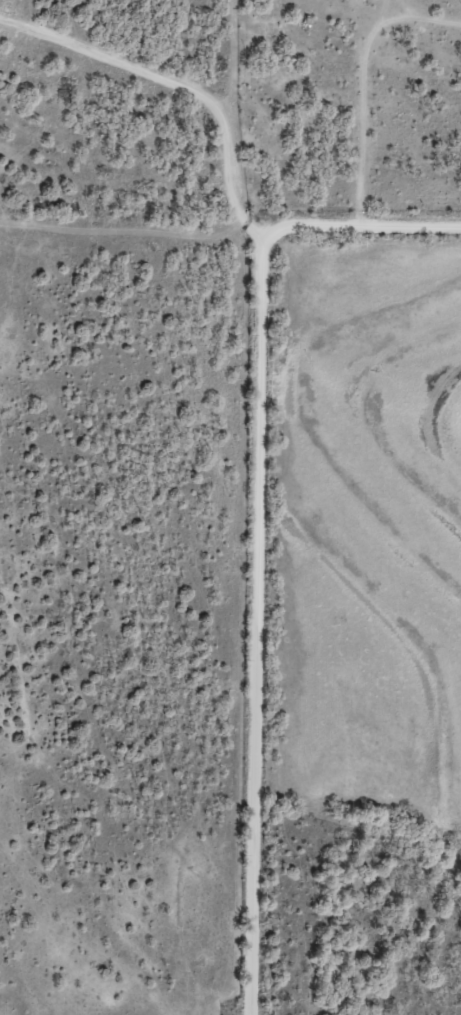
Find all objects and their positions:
road: (177, 94)
road: (357, 231)
road: (258, 634)

